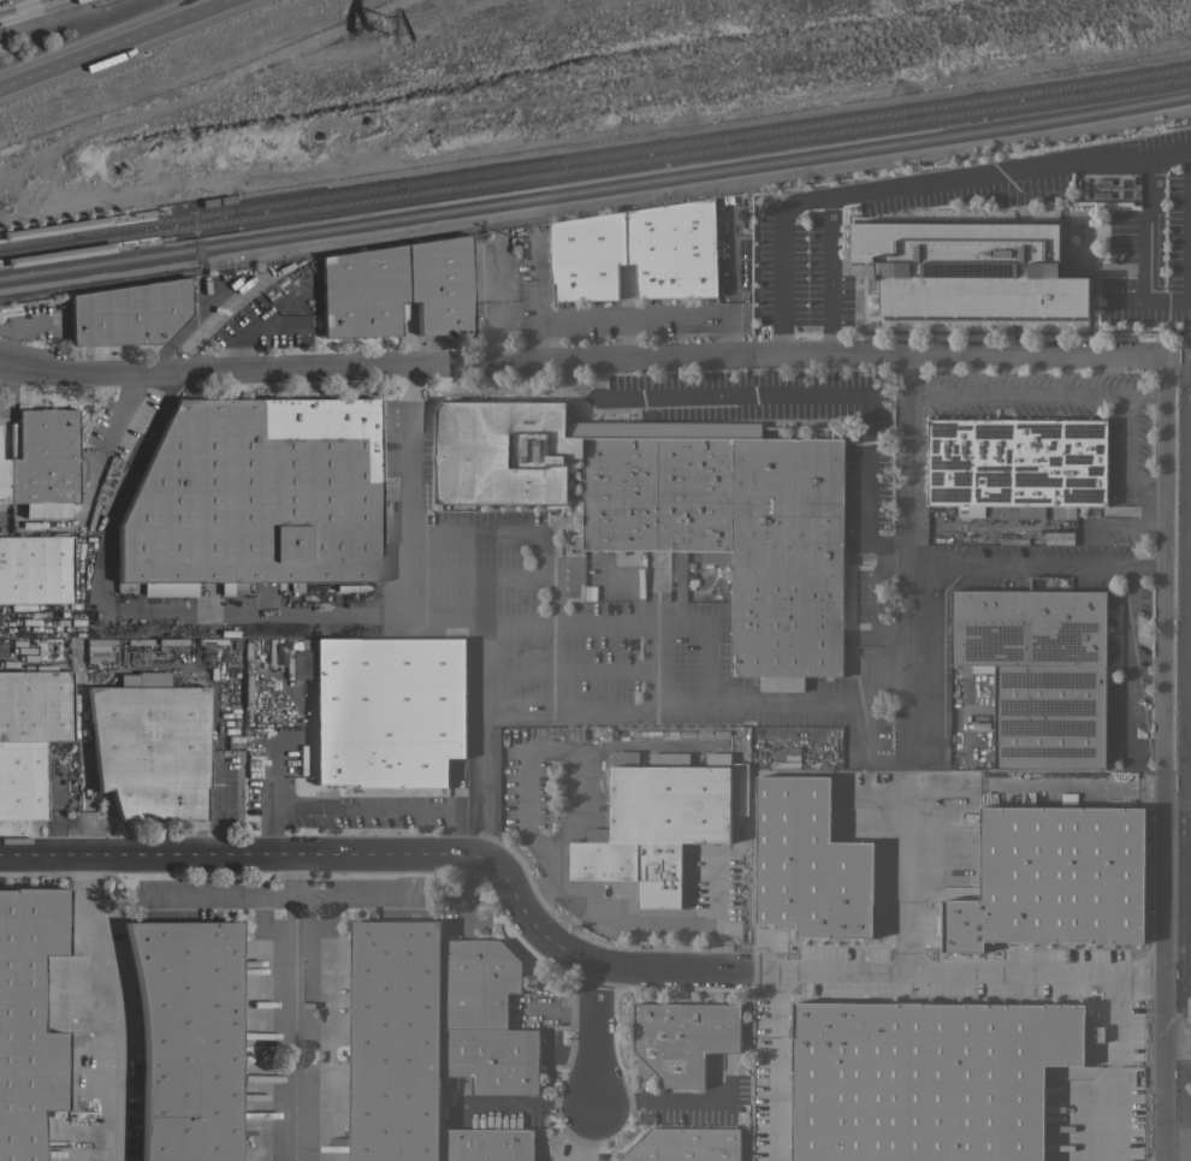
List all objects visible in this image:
road: (10, 2)
road: (106, 42)
road: (1167, 153)
railway: (595, 159)
railway: (594, 168)
road: (986, 176)
building: (1106, 185)
railway: (595, 189)
railway: (150, 213)
railway: (154, 239)
building: (672, 249)
road: (1143, 251)
building: (586, 256)
road: (781, 257)
building: (971, 268)
road: (829, 274)
building: (439, 285)
building: (361, 292)
building: (128, 313)
road: (636, 318)
road: (499, 326)
road: (629, 337)
road: (723, 354)
road: (959, 354)
road: (345, 365)
road: (6, 389)
road: (1036, 391)
road: (710, 393)
road: (1130, 456)
building: (1017, 466)
road: (870, 469)
building: (46, 470)
building: (594, 472)
building: (1, 480)
building: (253, 497)
road: (1189, 532)
road: (1167, 546)
building: (787, 553)
building: (628, 558)
road: (907, 561)
road: (1037, 564)
building: (35, 569)
road: (1186, 576)
road: (125, 612)
road: (579, 624)
road: (6, 662)
building: (1038, 671)
road: (1127, 671)
building: (35, 705)
building: (387, 710)
road: (550, 712)
building: (150, 747)
building: (20, 780)
road: (485, 784)
road: (1186, 801)
road: (362, 804)
building: (660, 819)
road: (532, 837)
road: (398, 853)
road: (1165, 858)
building: (807, 863)
road: (908, 870)
building: (1051, 878)
road: (1183, 888)
road: (351, 896)
road: (1186, 907)
road: (799, 971)
road: (1006, 973)
road: (1186, 976)
building: (476, 983)
road: (105, 1001)
road: (291, 1007)
building: (28, 1019)
road: (597, 1036)
building: (186, 1038)
building: (683, 1038)
building: (395, 1041)
building: (492, 1058)
road: (777, 1065)
road: (1161, 1067)
road: (657, 1101)
road: (585, 1133)
building: (486, 1144)
building: (685, 1144)

